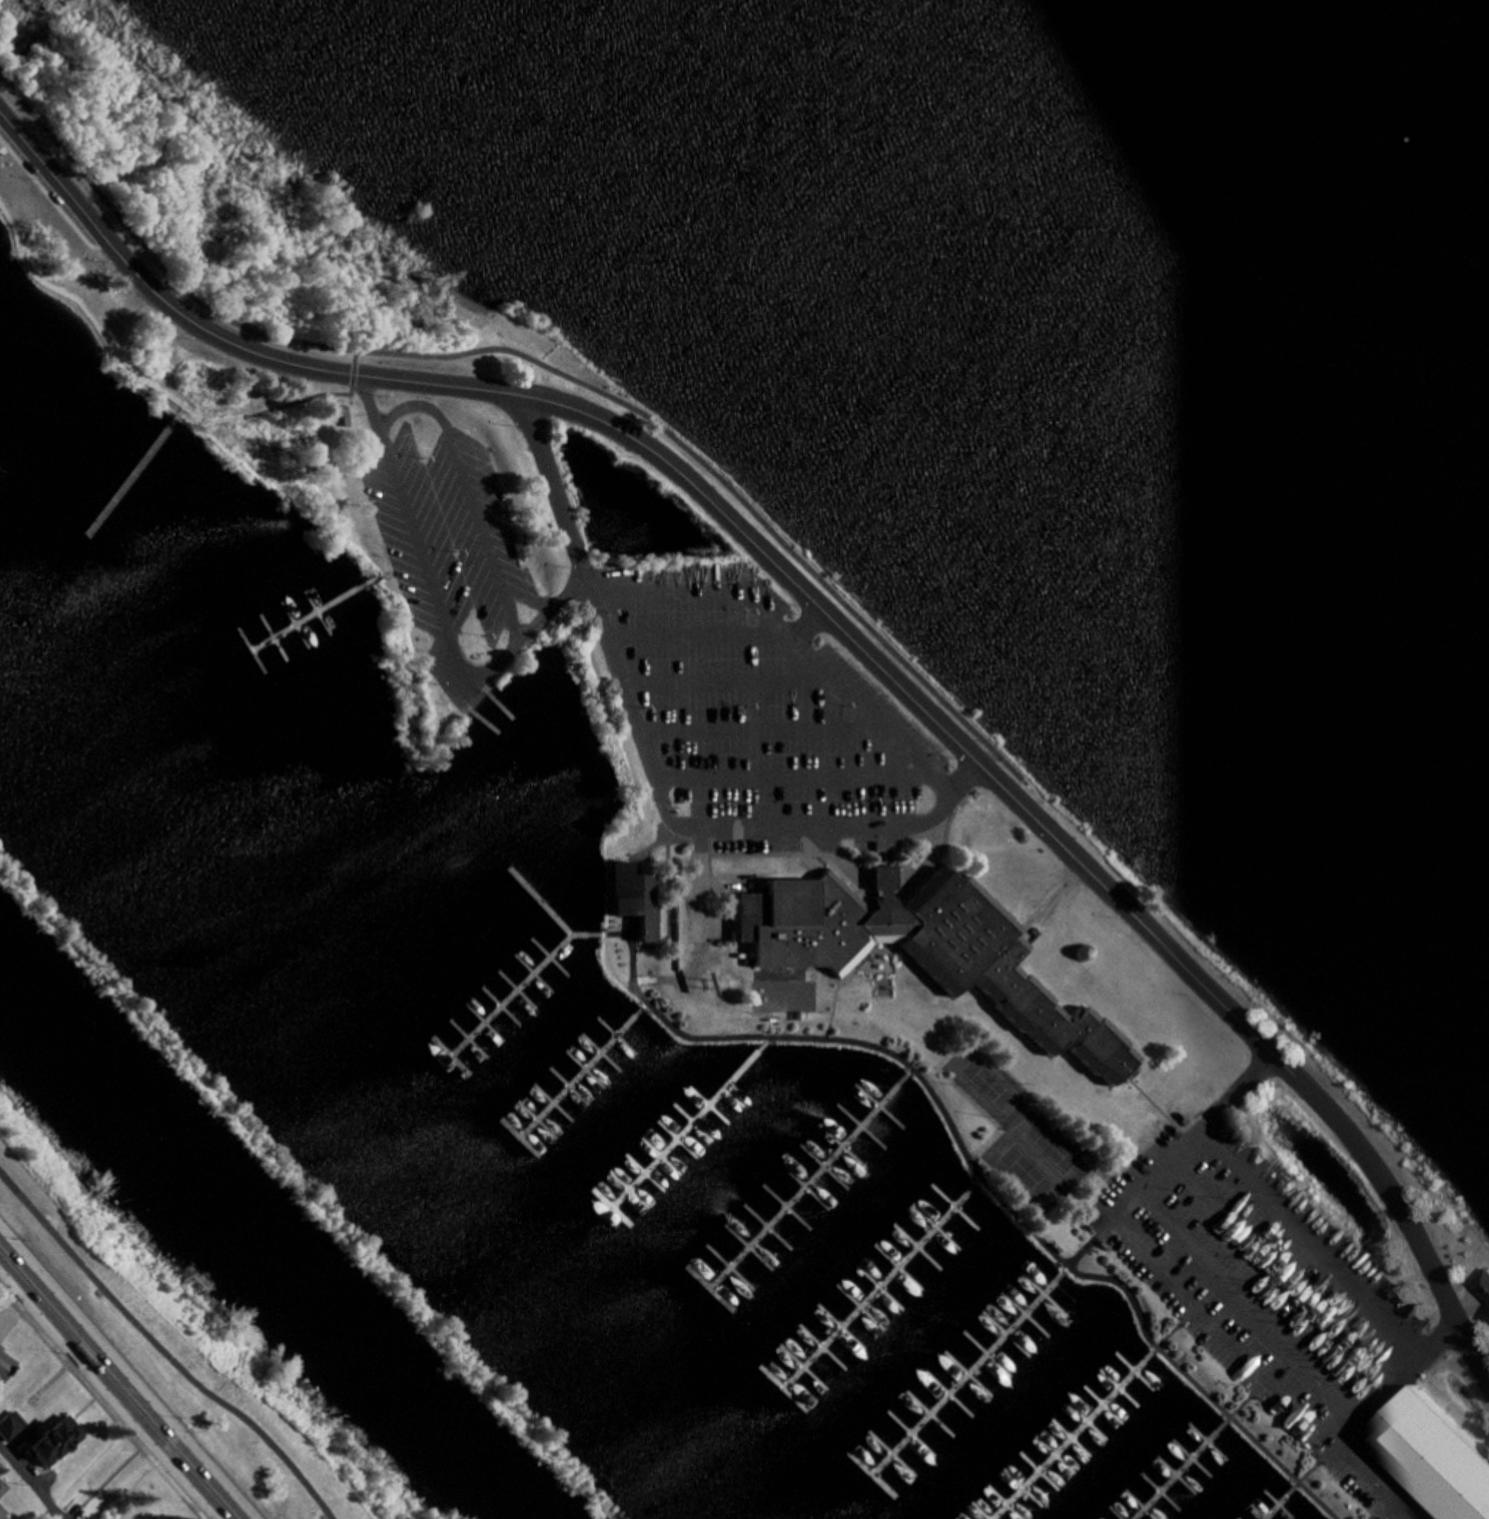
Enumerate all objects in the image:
road: (10, 149)
parking lot: (5, 160)
road: (8, 227)
road: (532, 359)
road: (352, 361)
road: (147, 381)
road: (361, 412)
building: (344, 414)
road: (466, 490)
parking lot: (443, 532)
road: (415, 546)
road: (385, 571)
building: (641, 602)
road: (835, 616)
pier: (298, 619)
road: (799, 627)
road: (523, 630)
road: (702, 630)
road: (733, 680)
parking lot: (759, 712)
road: (763, 729)
park: (756, 753)
road: (647, 762)
road: (793, 776)
road: (652, 840)
road: (930, 850)
road: (766, 853)
road: (936, 853)
road: (840, 858)
road: (667, 859)
road: (812, 864)
building: (885, 881)
road: (728, 885)
road: (700, 890)
building: (634, 895)
road: (1050, 897)
pier: (538, 899)
pier: (582, 932)
road: (612, 933)
road: (661, 937)
road: (820, 967)
road: (839, 976)
building: (1002, 977)
pier: (509, 992)
road: (642, 1007)
road: (765, 1041)
road: (908, 1070)
pier: (579, 1073)
park: (988, 1082)
road: (1156, 1107)
pier: (685, 1125)
park: (1050, 1142)
park: (1023, 1171)
road: (978, 1174)
pier: (805, 1180)
road: (975, 1181)
road: (1313, 1238)
road: (1085, 1245)
road: (1284, 1267)
pier: (874, 1285)
parking lot: (1268, 1286)
road: (1184, 1287)
road: (1251, 1300)
road: (10, 1307)
road: (1173, 1326)
park: (194, 1349)
road: (160, 1350)
road: (126, 1374)
pier: (966, 1374)
road: (1397, 1378)
road: (112, 1391)
road: (1245, 1396)
road: (102, 1403)
pier: (1069, 1436)
building: (1427, 1459)
road: (1313, 1463)
pier: (1176, 1471)
park: (113, 1478)
road: (112, 1479)
road: (33, 1480)
pier: (1275, 1504)
road: (1383, 1506)
road: (76, 1515)
railway: (613, 1516)

